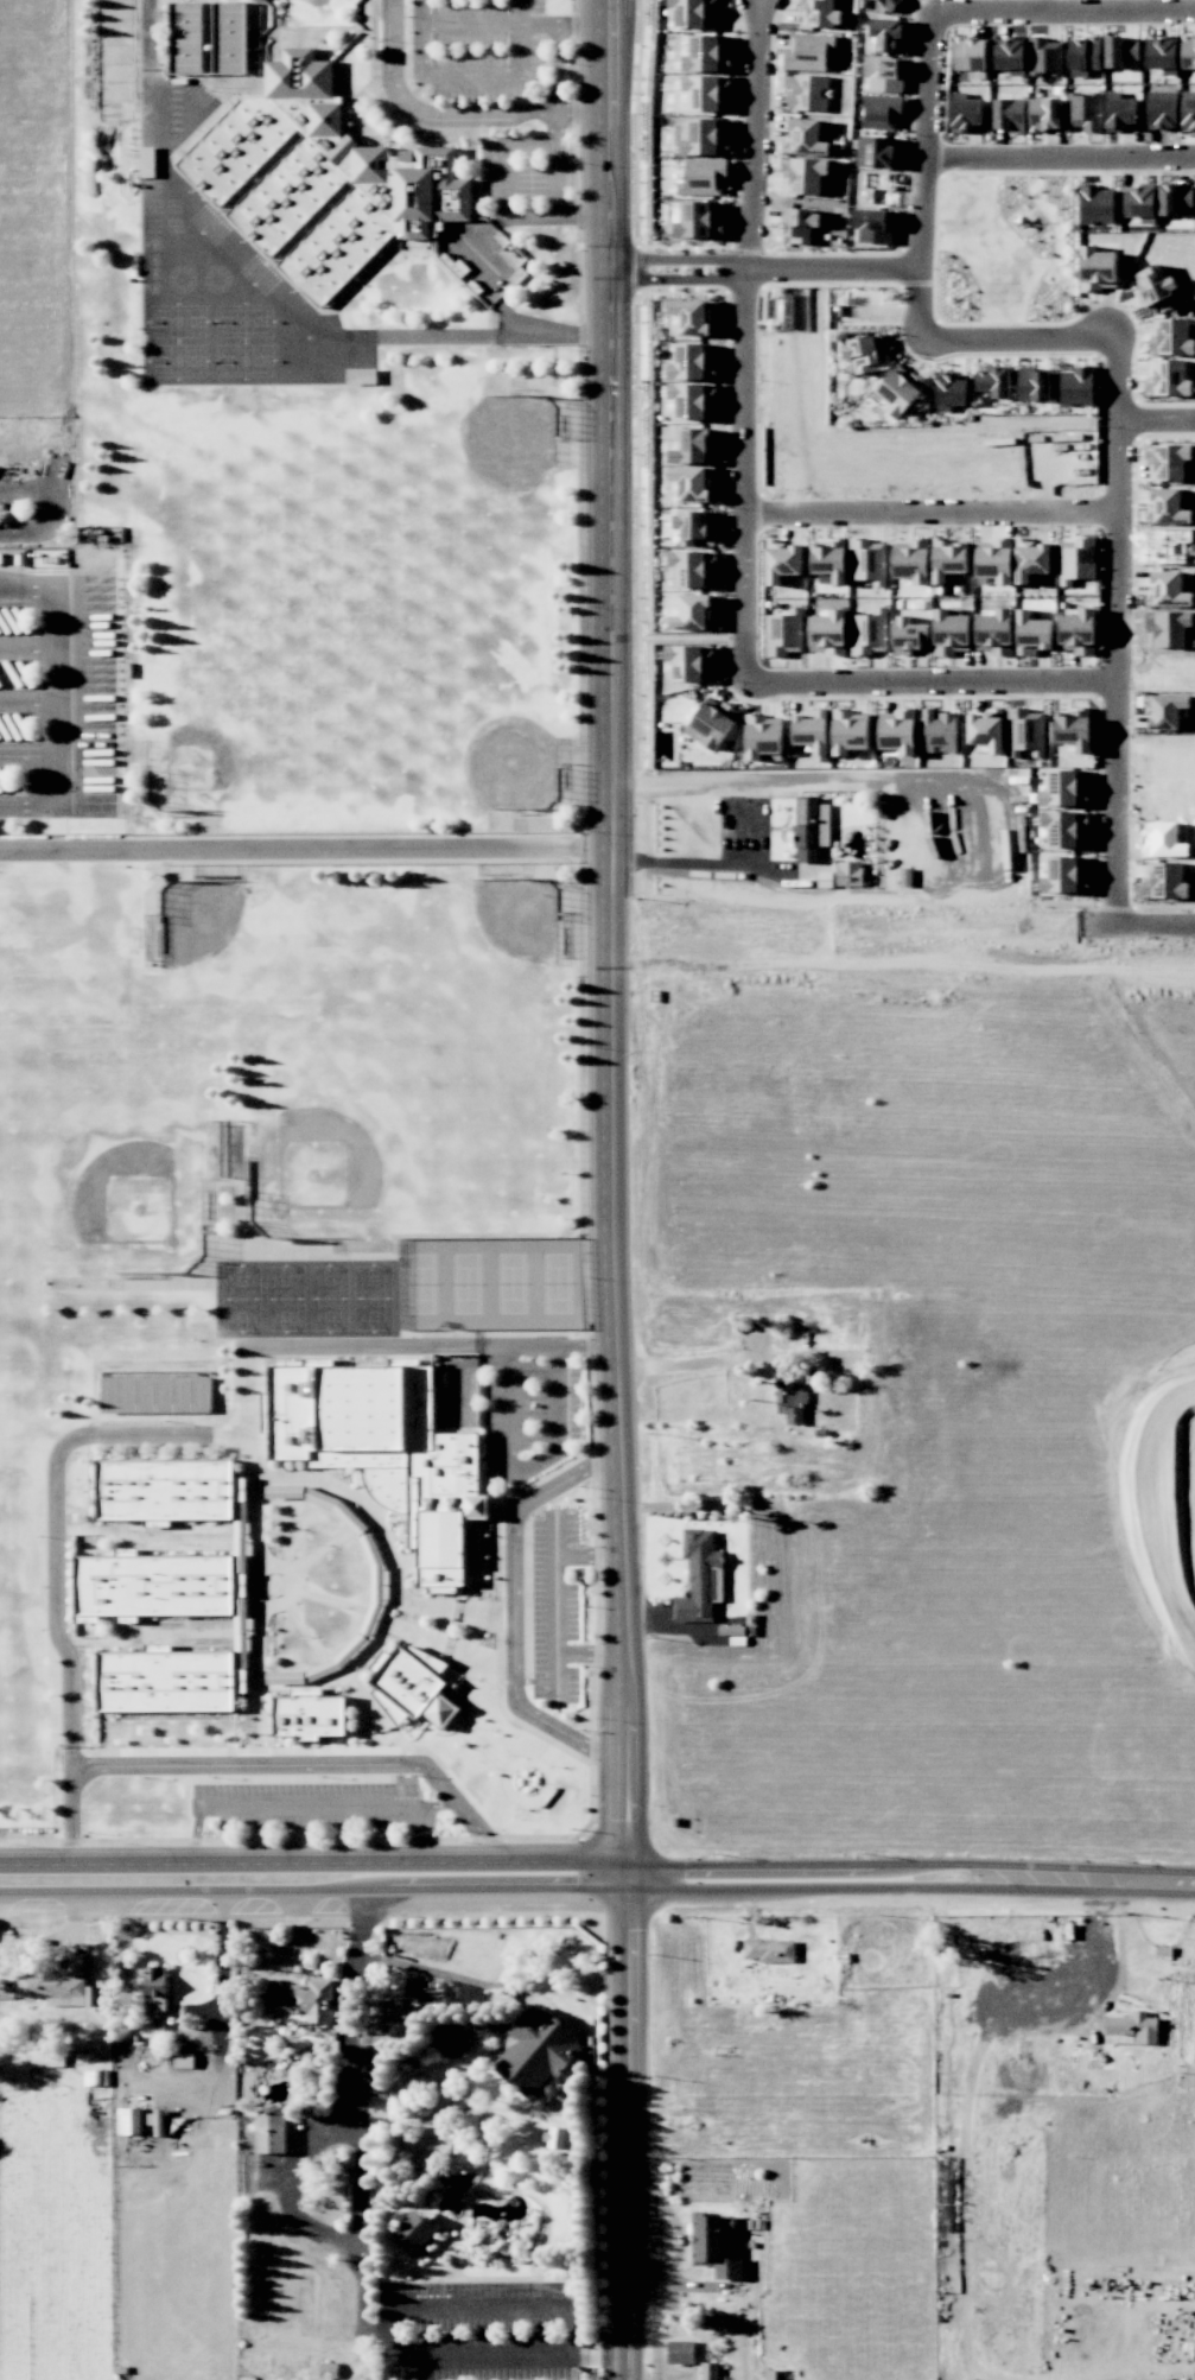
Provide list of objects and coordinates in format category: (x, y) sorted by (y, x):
building: (889, 4)
road: (998, 5)
building: (691, 13)
building: (820, 13)
road: (469, 24)
road: (584, 25)
building: (886, 33)
building: (206, 37)
road: (558, 47)
building: (808, 51)
building: (1120, 52)
building: (968, 53)
building: (707, 55)
building: (1163, 55)
building: (1188, 55)
building: (1045, 56)
building: (1085, 56)
building: (1010, 57)
building: (883, 75)
road: (469, 76)
building: (707, 91)
building: (806, 91)
road: (610, 106)
building: (1188, 108)
building: (1085, 110)
road: (584, 112)
building: (881, 112)
building: (1162, 113)
building: (1009, 114)
building: (1044, 114)
building: (1120, 114)
road: (427, 115)
building: (967, 115)
road: (558, 127)
road: (758, 132)
building: (704, 137)
building: (805, 138)
road: (533, 144)
road: (1063, 151)
building: (877, 152)
building: (803, 174)
building: (704, 177)
road: (558, 178)
building: (317, 179)
building: (1140, 203)
road: (508, 204)
building: (1095, 205)
road: (585, 212)
building: (800, 226)
road: (824, 265)
building: (1097, 269)
road: (225, 272)
road: (611, 275)
building: (1153, 285)
building: (692, 316)
road: (516, 322)
road: (552, 336)
building: (1171, 337)
building: (865, 354)
building: (693, 362)
building: (1167, 377)
building: (994, 381)
building: (1034, 385)
building: (1076, 386)
building: (900, 389)
building: (951, 392)
building: (693, 400)
road: (1161, 426)
building: (694, 446)
building: (1170, 462)
building: (694, 482)
road: (1030, 504)
road: (44, 507)
building: (1167, 507)
building: (694, 527)
building: (948, 558)
building: (1032, 558)
road: (754, 560)
building: (783, 560)
building: (828, 560)
building: (911, 560)
building: (994, 560)
building: (1076, 560)
building: (869, 561)
building: (692, 569)
building: (1168, 589)
building: (694, 613)
building: (993, 632)
building: (1078, 632)
building: (783, 633)
building: (827, 633)
building: (869, 633)
building: (951, 633)
building: (1032, 634)
building: (909, 635)
road: (28, 648)
building: (689, 662)
road: (996, 687)
road: (57, 700)
road: (28, 702)
building: (1167, 710)
building: (712, 723)
building: (986, 729)
building: (1074, 729)
building: (897, 731)
building: (937, 731)
building: (848, 732)
building: (1025, 732)
road: (28, 754)
building: (1063, 787)
building: (1066, 827)
building: (811, 829)
road: (1124, 844)
road: (306, 849)
road: (713, 865)
building: (848, 874)
building: (1064, 875)
building: (1164, 881)
road: (544, 1345)
road: (611, 1347)
road: (687, 1366)
building: (155, 1395)
building: (789, 1398)
road: (148, 1433)
building: (384, 1451)
road: (523, 1468)
building: (164, 1490)
building: (698, 1575)
road: (555, 1602)
road: (514, 1608)
building: (167, 1681)
building: (412, 1683)
building: (309, 1714)
road: (72, 1762)
road: (311, 1764)
road: (301, 1805)
road: (71, 1813)
road: (545, 1858)
road: (1142, 1883)
road: (545, 1891)
road: (360, 1923)
building: (769, 1950)
road: (1121, 1961)
road: (412, 1965)
building: (155, 1981)
building: (59, 1985)
road: (223, 2000)
building: (304, 2001)
building: (1132, 2029)
building: (451, 2043)
building: (538, 2051)
building: (46, 2058)
building: (183, 2060)
road: (355, 2097)
building: (139, 2121)
building: (271, 2133)
road: (291, 2187)
building: (415, 2233)
building: (714, 2246)
road: (361, 2287)
road: (375, 2330)
road: (388, 2335)
building: (680, 2352)
road: (625, 2368)
building: (708, 2371)

